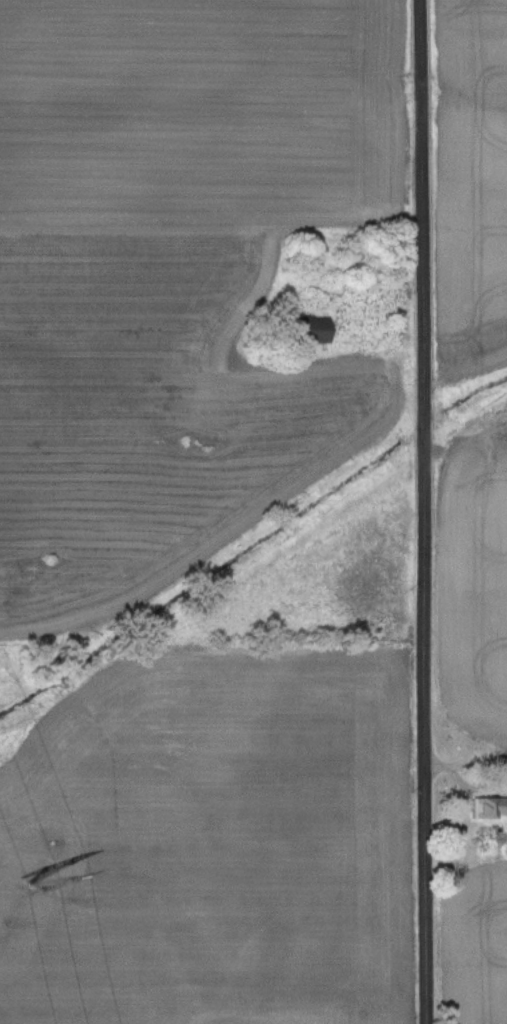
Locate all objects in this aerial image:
building: (301, 329)
road: (426, 511)
building: (489, 808)
power tower: (26, 881)

